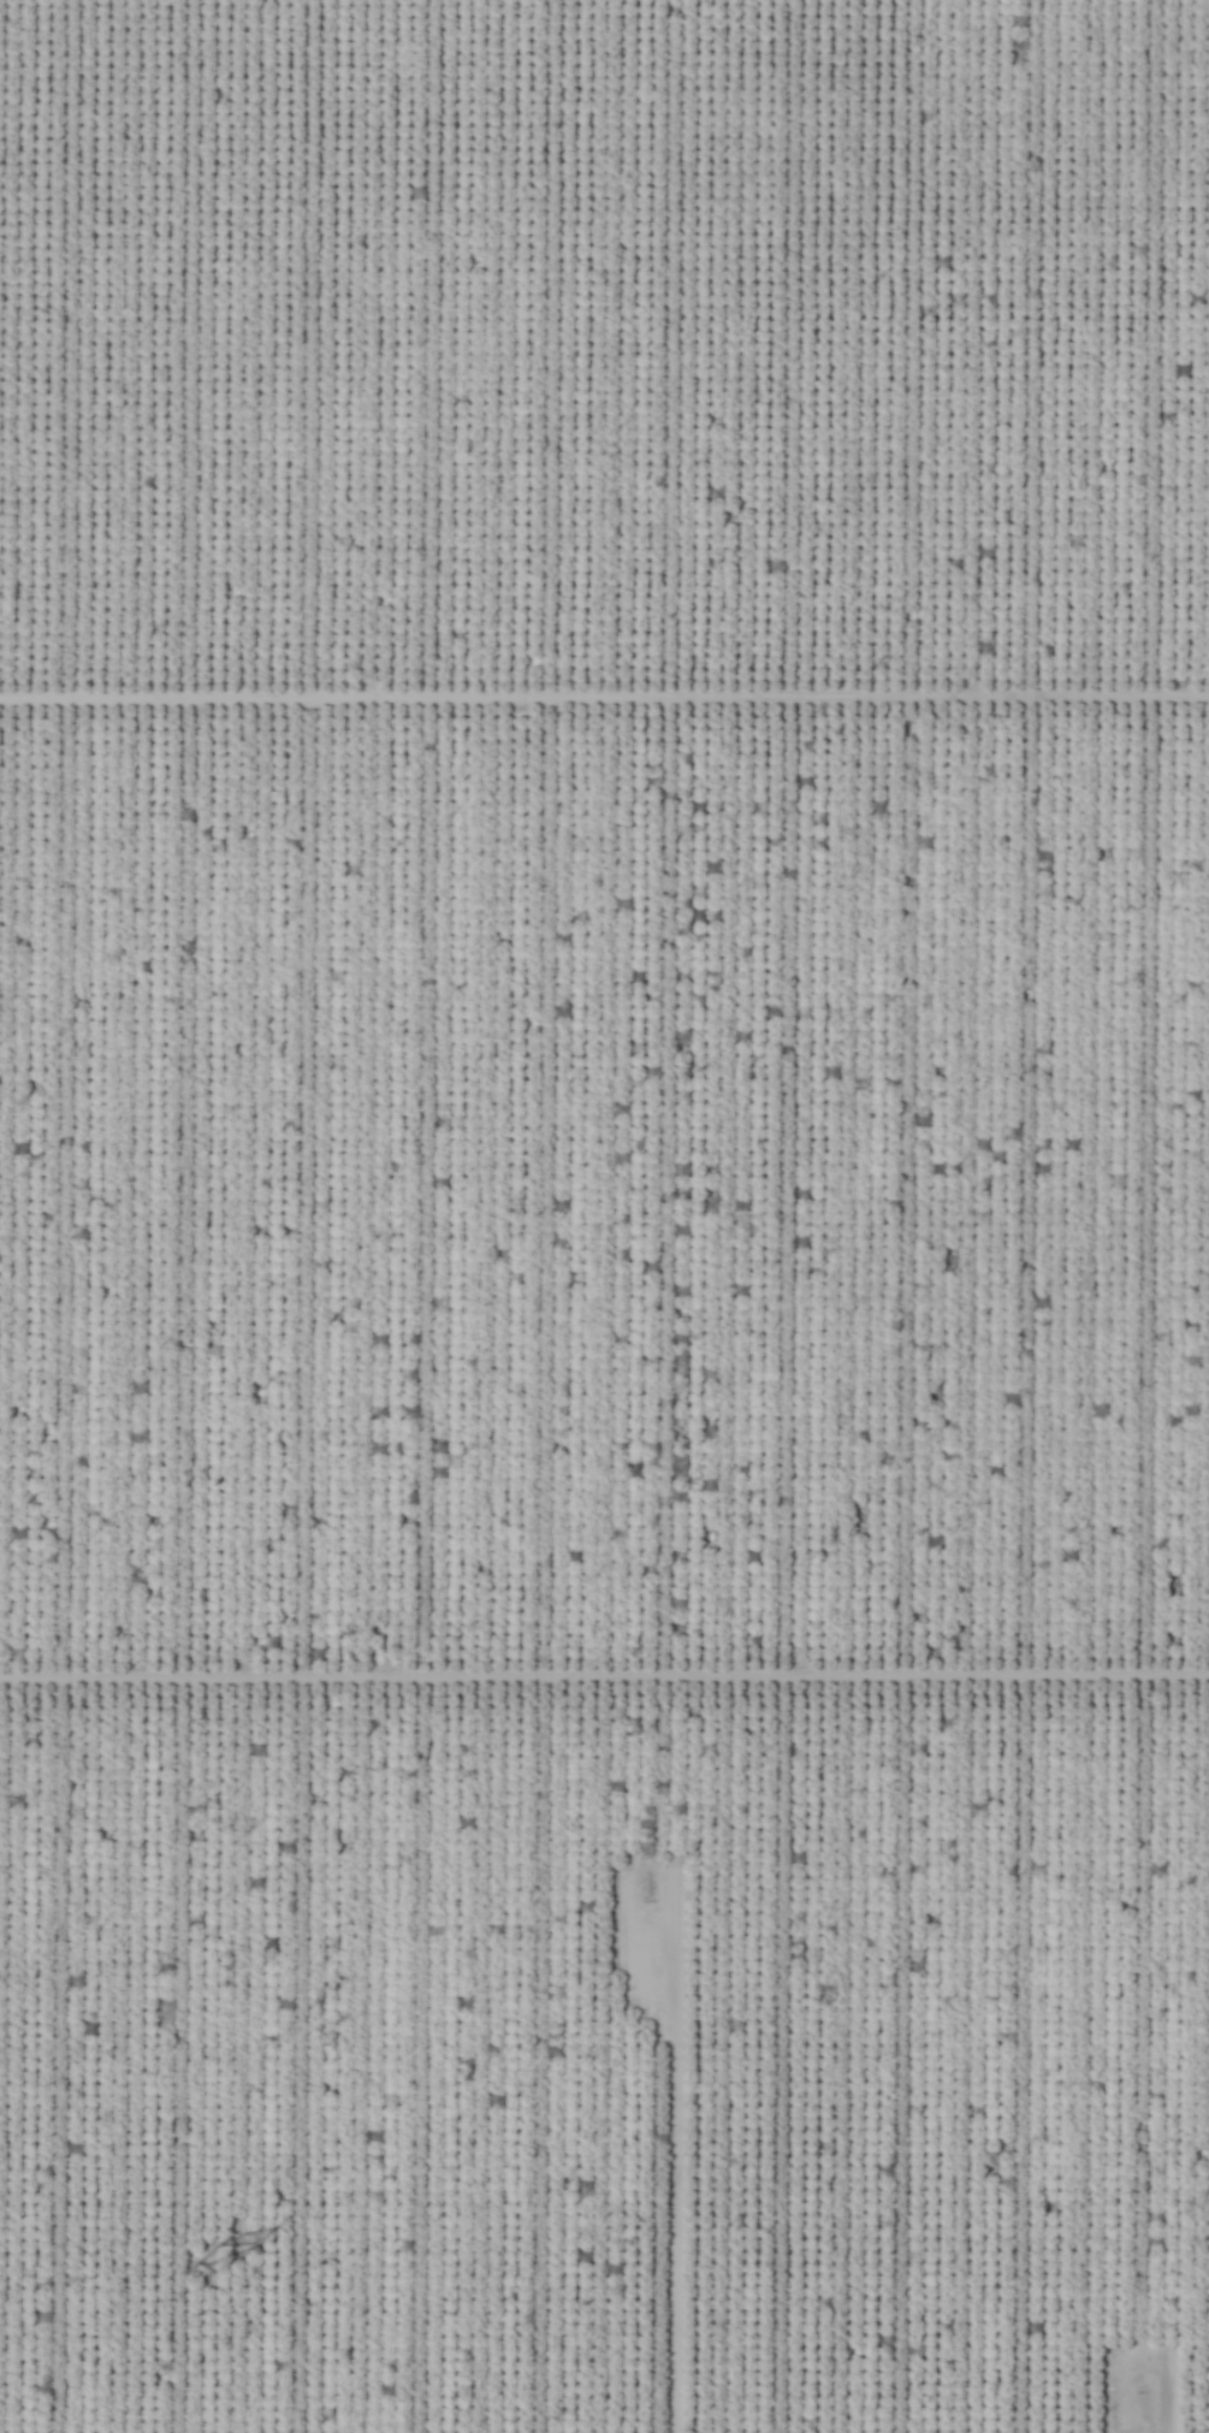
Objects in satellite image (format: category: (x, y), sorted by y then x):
power tower: (243, 2257)

